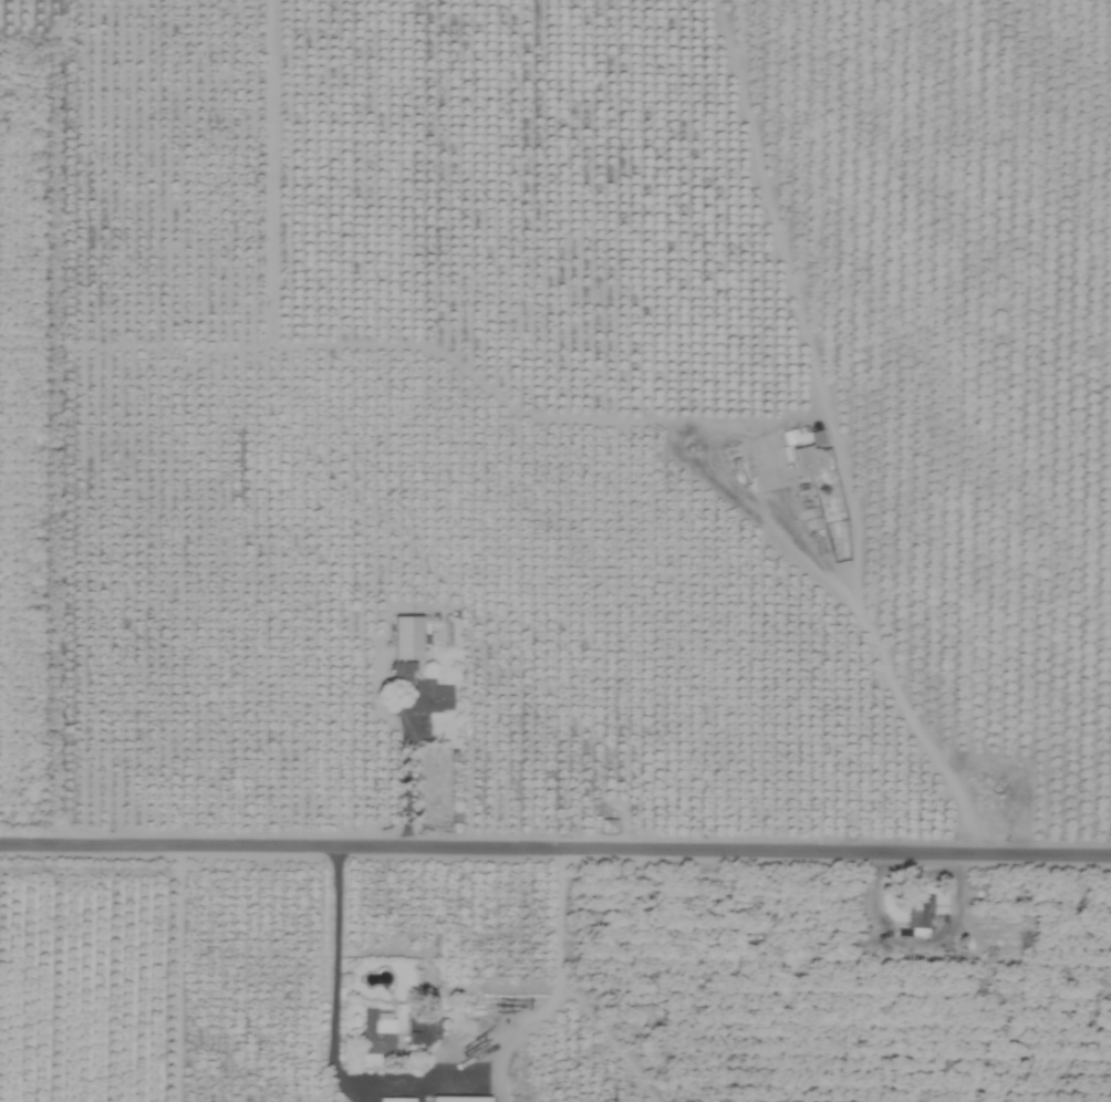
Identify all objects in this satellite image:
building: (811, 455)
crop: (555, 551)
building: (405, 637)
road: (872, 652)
building: (401, 675)
building: (429, 697)
road: (406, 769)
building: (606, 825)
road: (555, 840)
building: (918, 912)
road: (558, 984)
road: (332, 1022)
building: (422, 1028)
building: (375, 1033)
building: (458, 1099)
building: (395, 1100)

